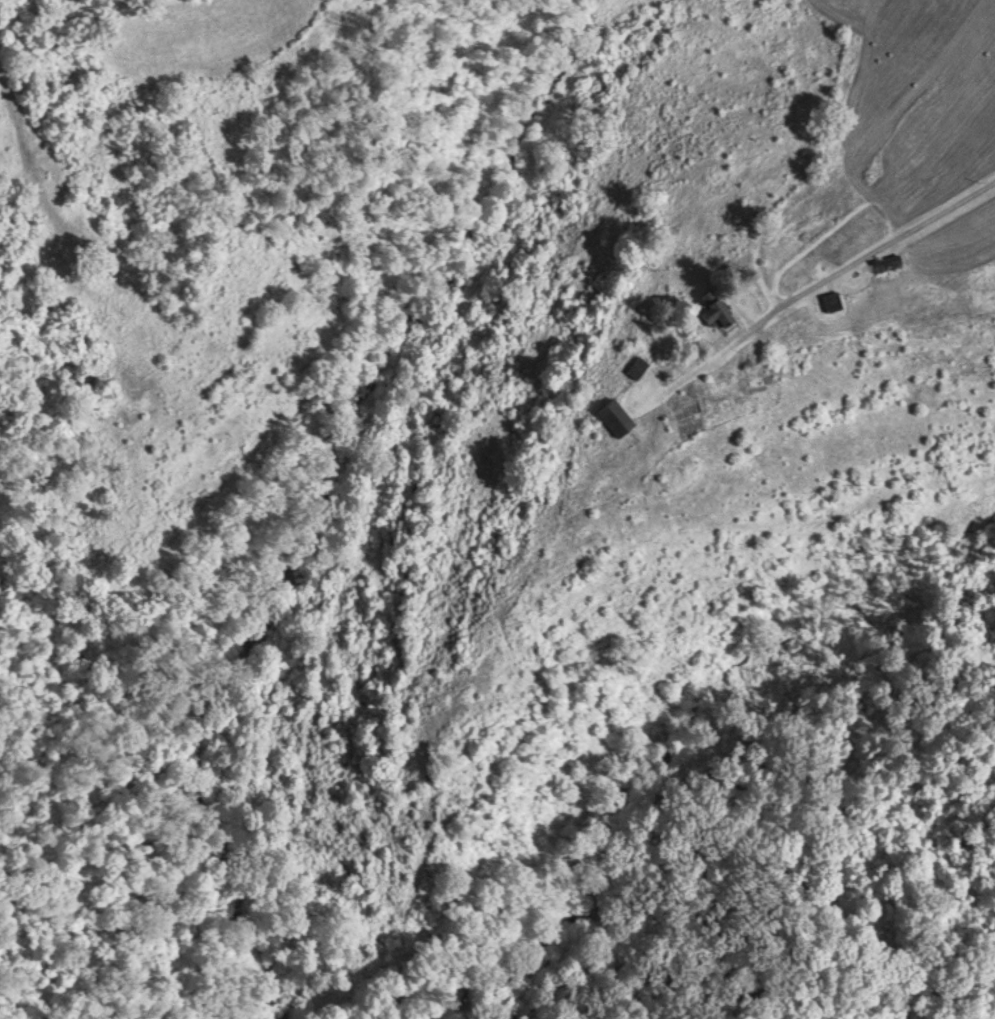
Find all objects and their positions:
building: (893, 261)
building: (120, 280)
building: (837, 299)
building: (721, 310)
building: (641, 365)
building: (621, 415)
building: (639, 486)
building: (594, 526)
building: (559, 559)

